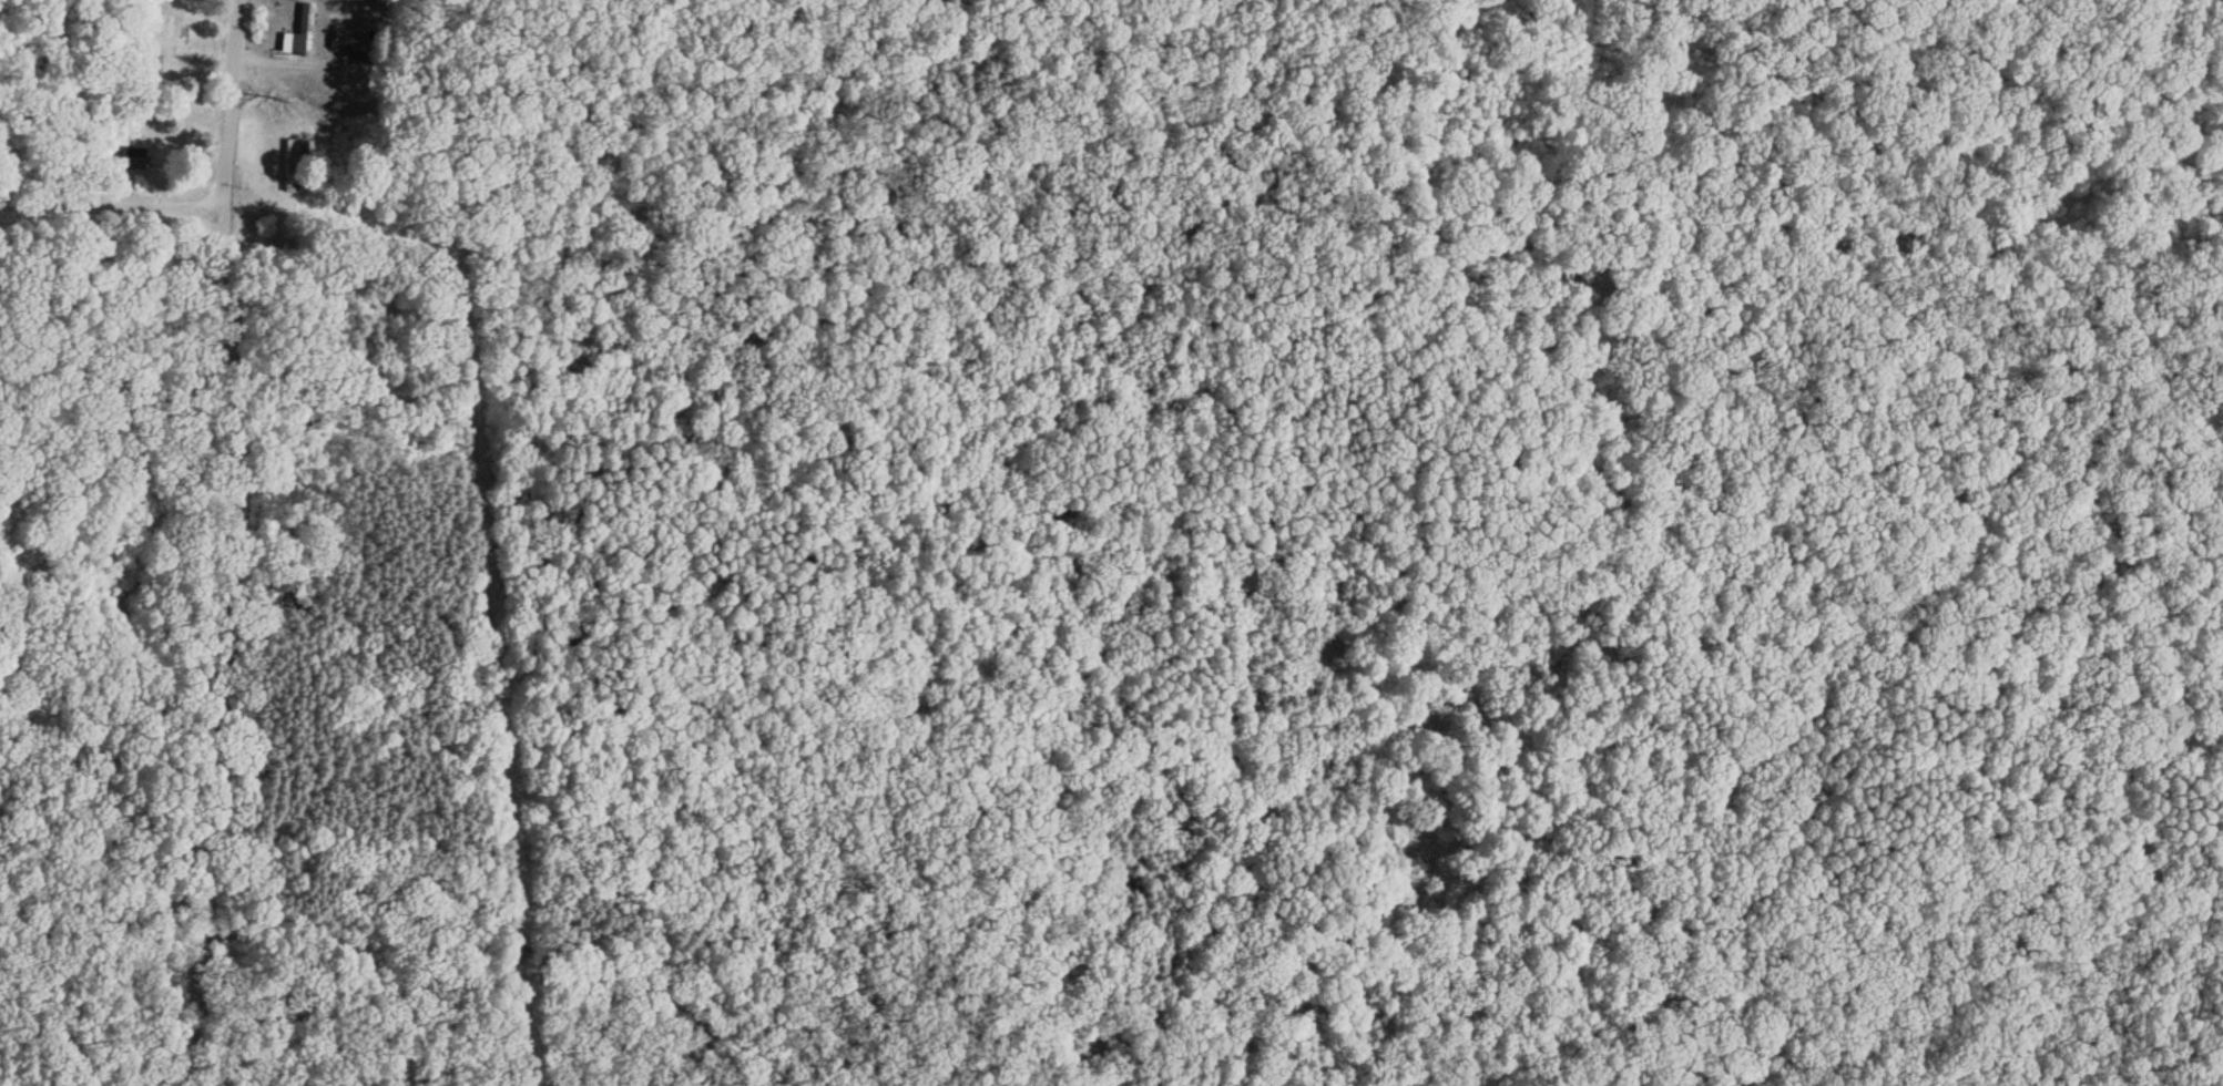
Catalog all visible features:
building: (298, 33)
building: (350, 45)
road: (233, 107)
building: (128, 153)
building: (294, 165)
road: (113, 213)
road: (1516, 635)
road: (212, 650)
road: (94, 912)
road: (485, 950)

